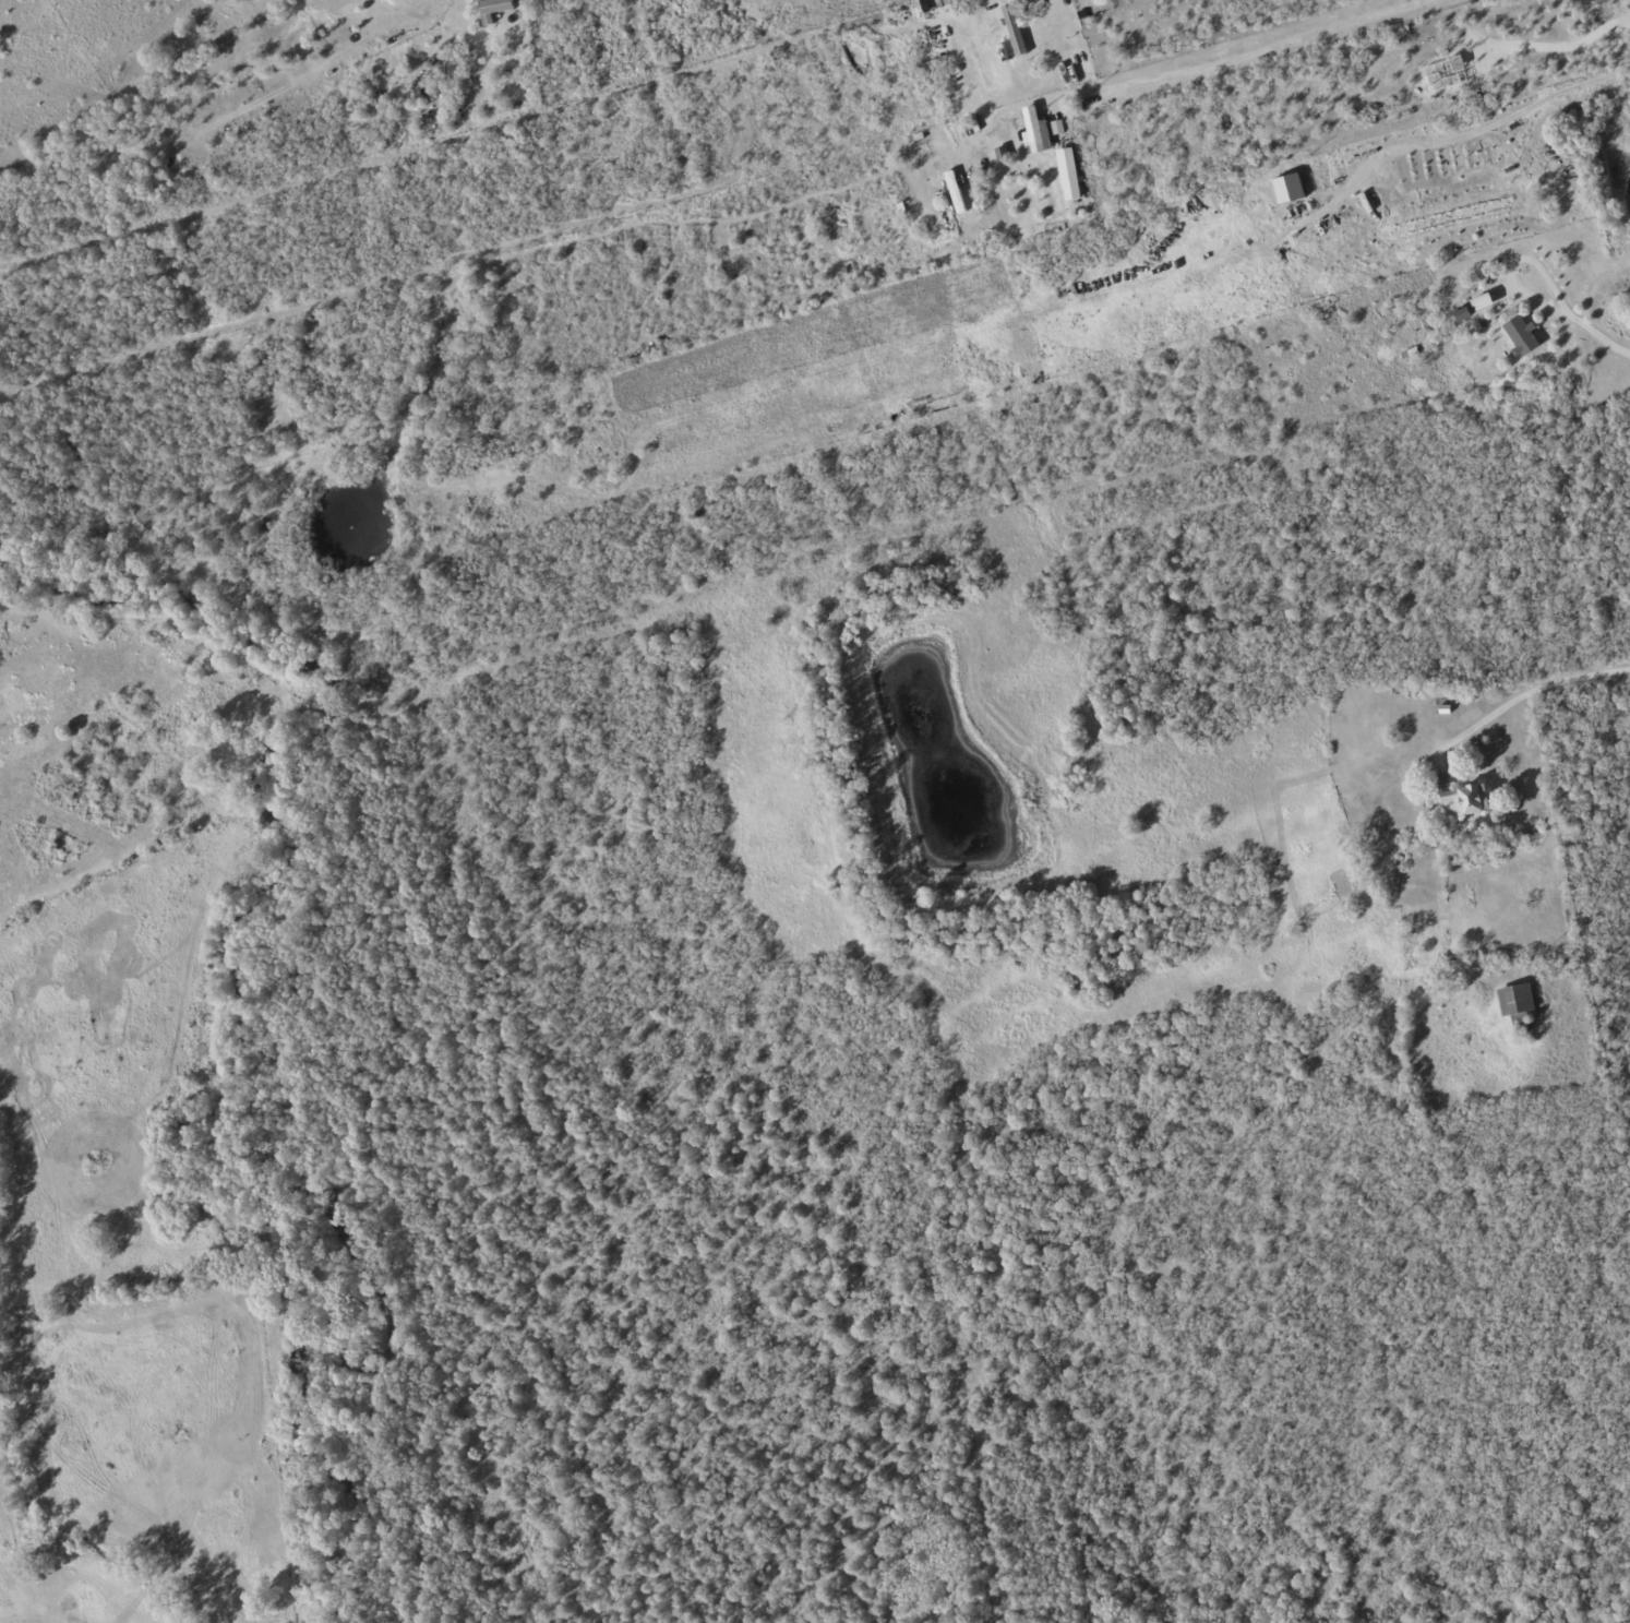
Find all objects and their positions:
building: (956, 2)
building: (493, 10)
building: (1015, 28)
road: (1246, 60)
building: (1057, 128)
building: (1035, 132)
road: (1467, 138)
building: (1002, 155)
building: (1068, 175)
building: (1289, 189)
building: (955, 192)
building: (1463, 313)
building: (1469, 324)
road: (1590, 330)
building: (1521, 336)
road: (1534, 692)
building: (1460, 798)
building: (1517, 999)
building: (1521, 1022)

